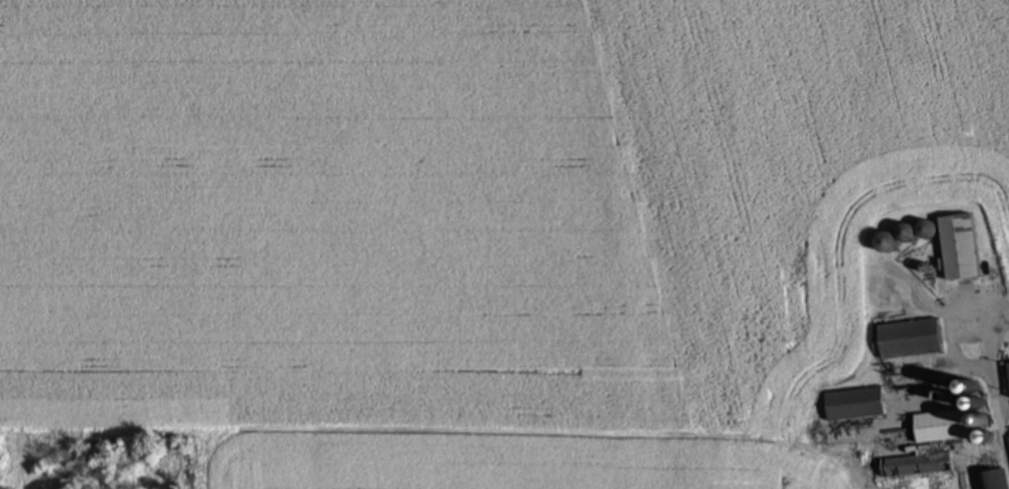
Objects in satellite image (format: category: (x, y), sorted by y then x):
building: (905, 237)
building: (959, 248)
building: (909, 339)
road: (988, 354)
building: (1008, 370)
building: (855, 405)
building: (942, 427)
building: (1008, 439)
road: (1001, 440)
building: (916, 466)
building: (994, 480)

